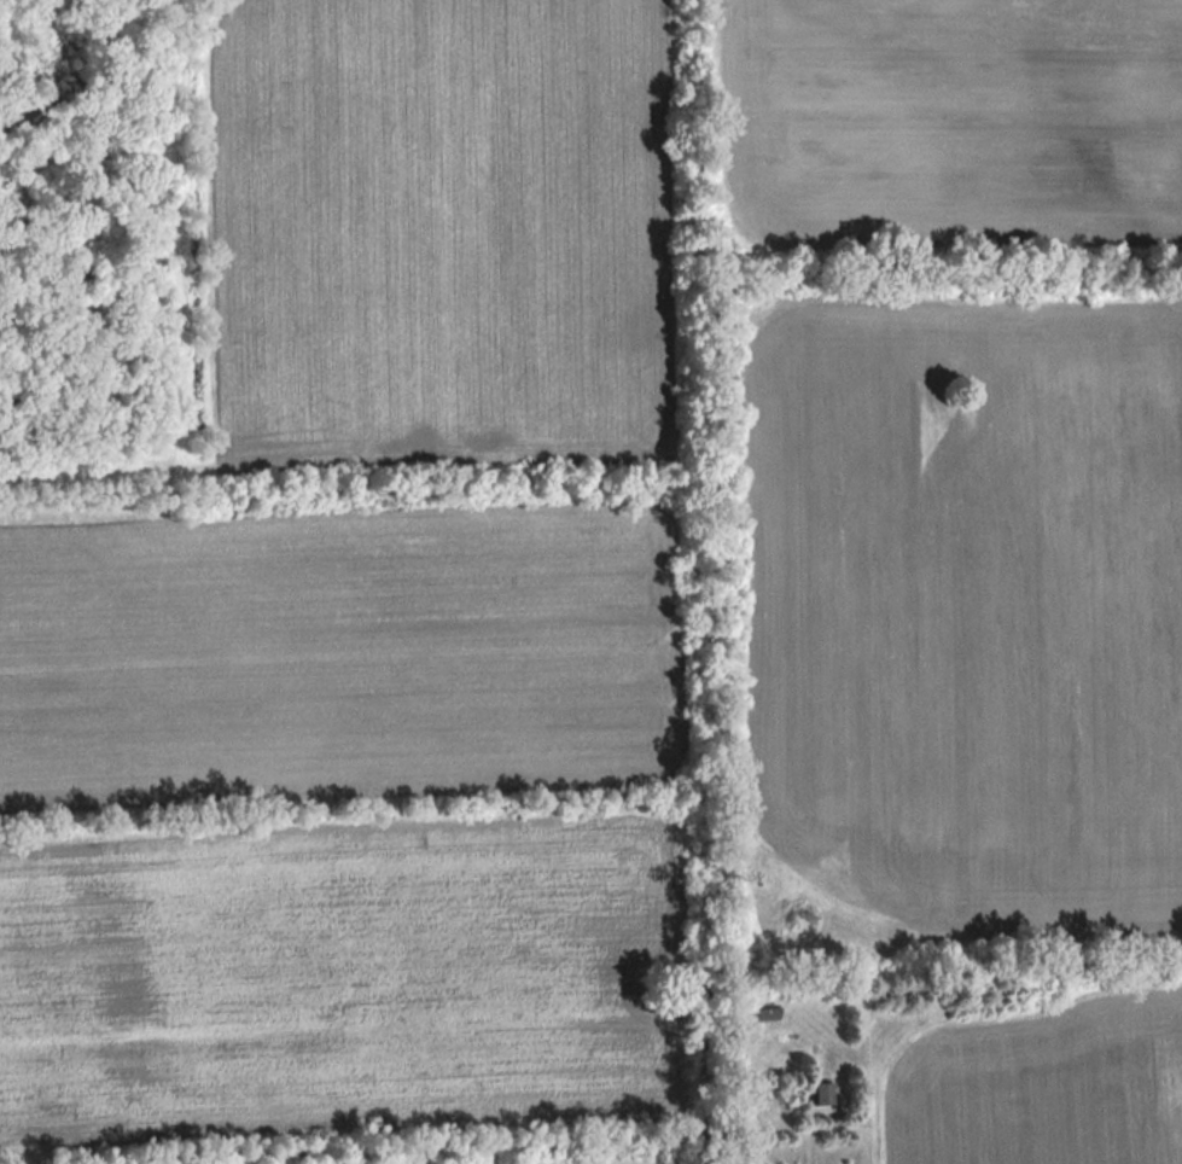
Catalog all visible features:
crop: (945, 122)
crop: (435, 234)
crop: (961, 593)
crop: (333, 650)
crop: (339, 980)
building: (764, 1014)
crop: (1040, 1083)
building: (821, 1094)

